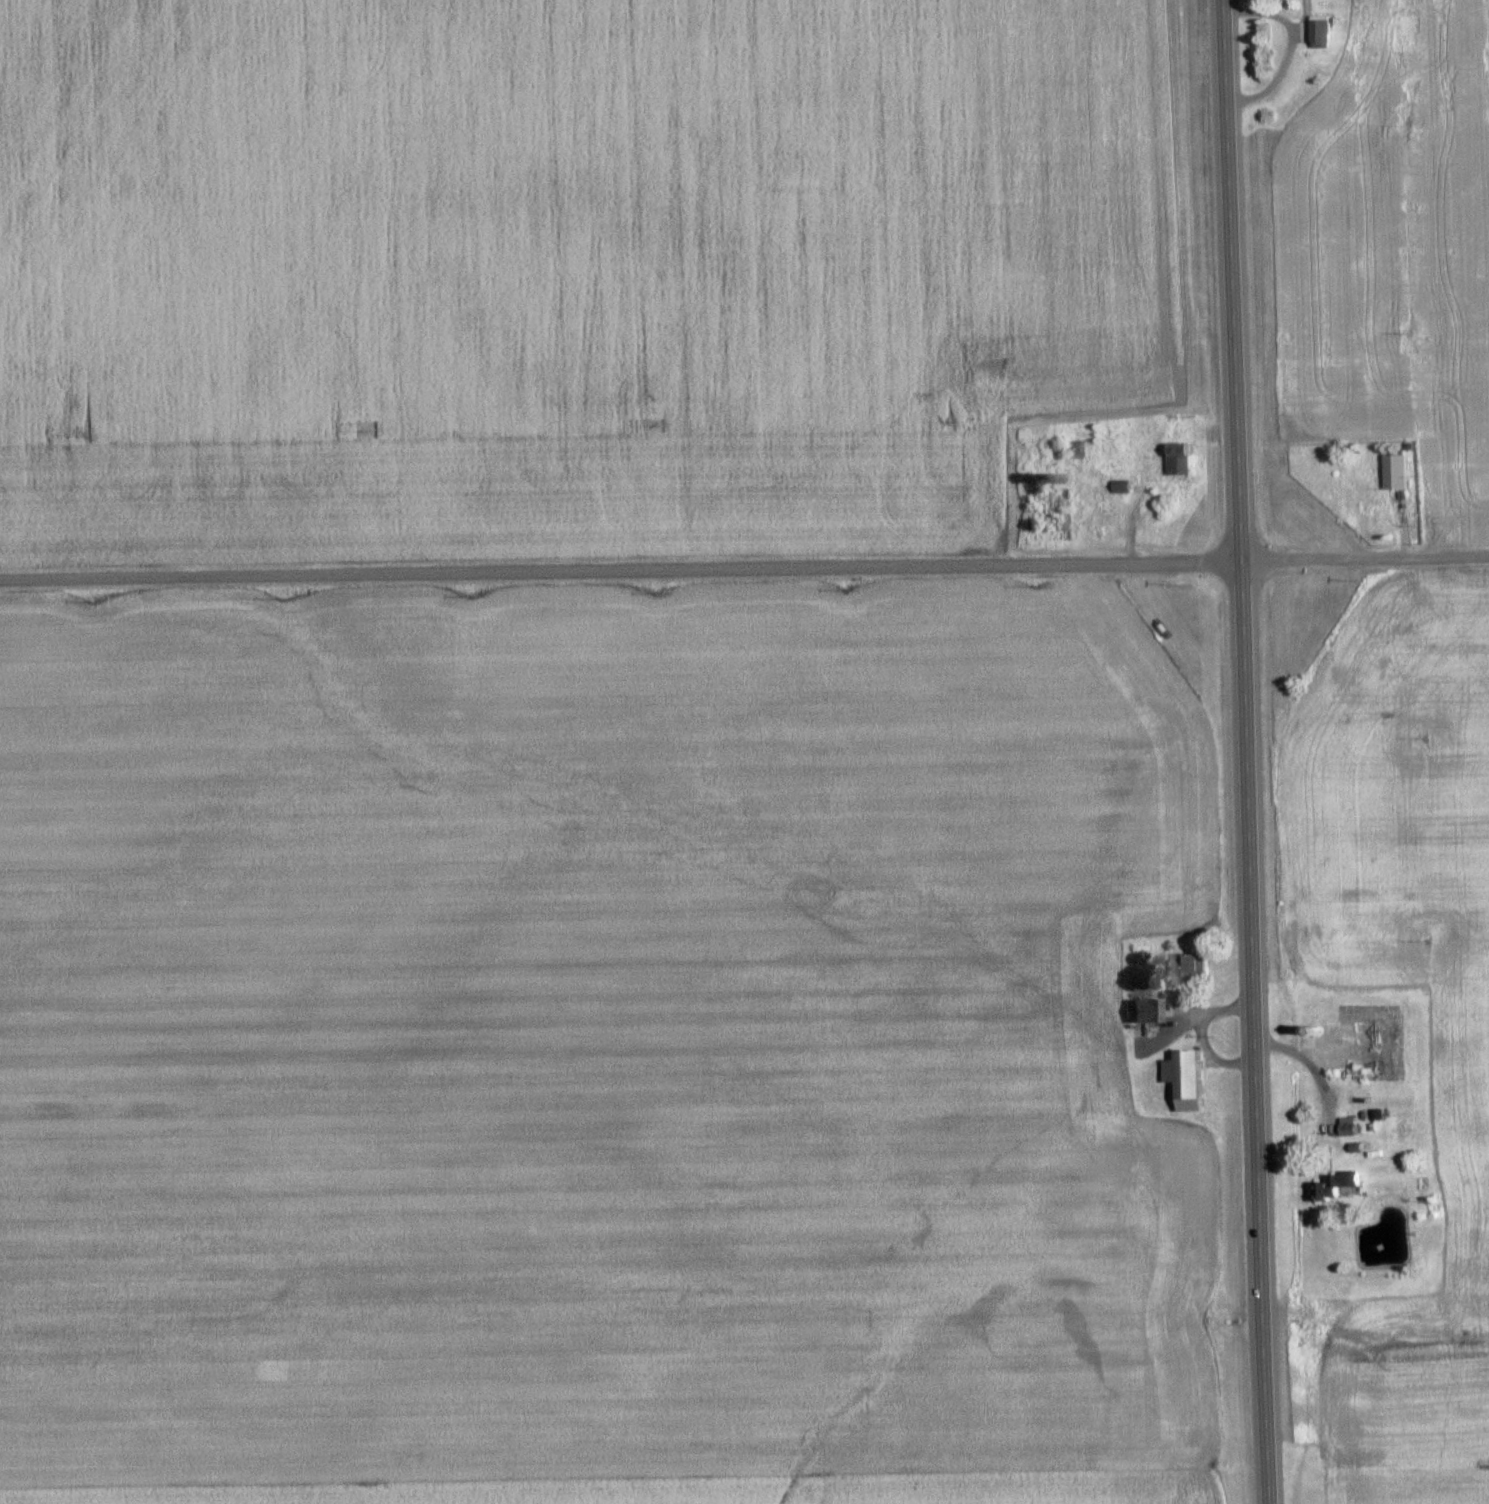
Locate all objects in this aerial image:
building: (1388, 472)
road: (1366, 554)
road: (622, 569)
road: (1249, 752)
building: (1186, 968)
building: (1138, 1012)

